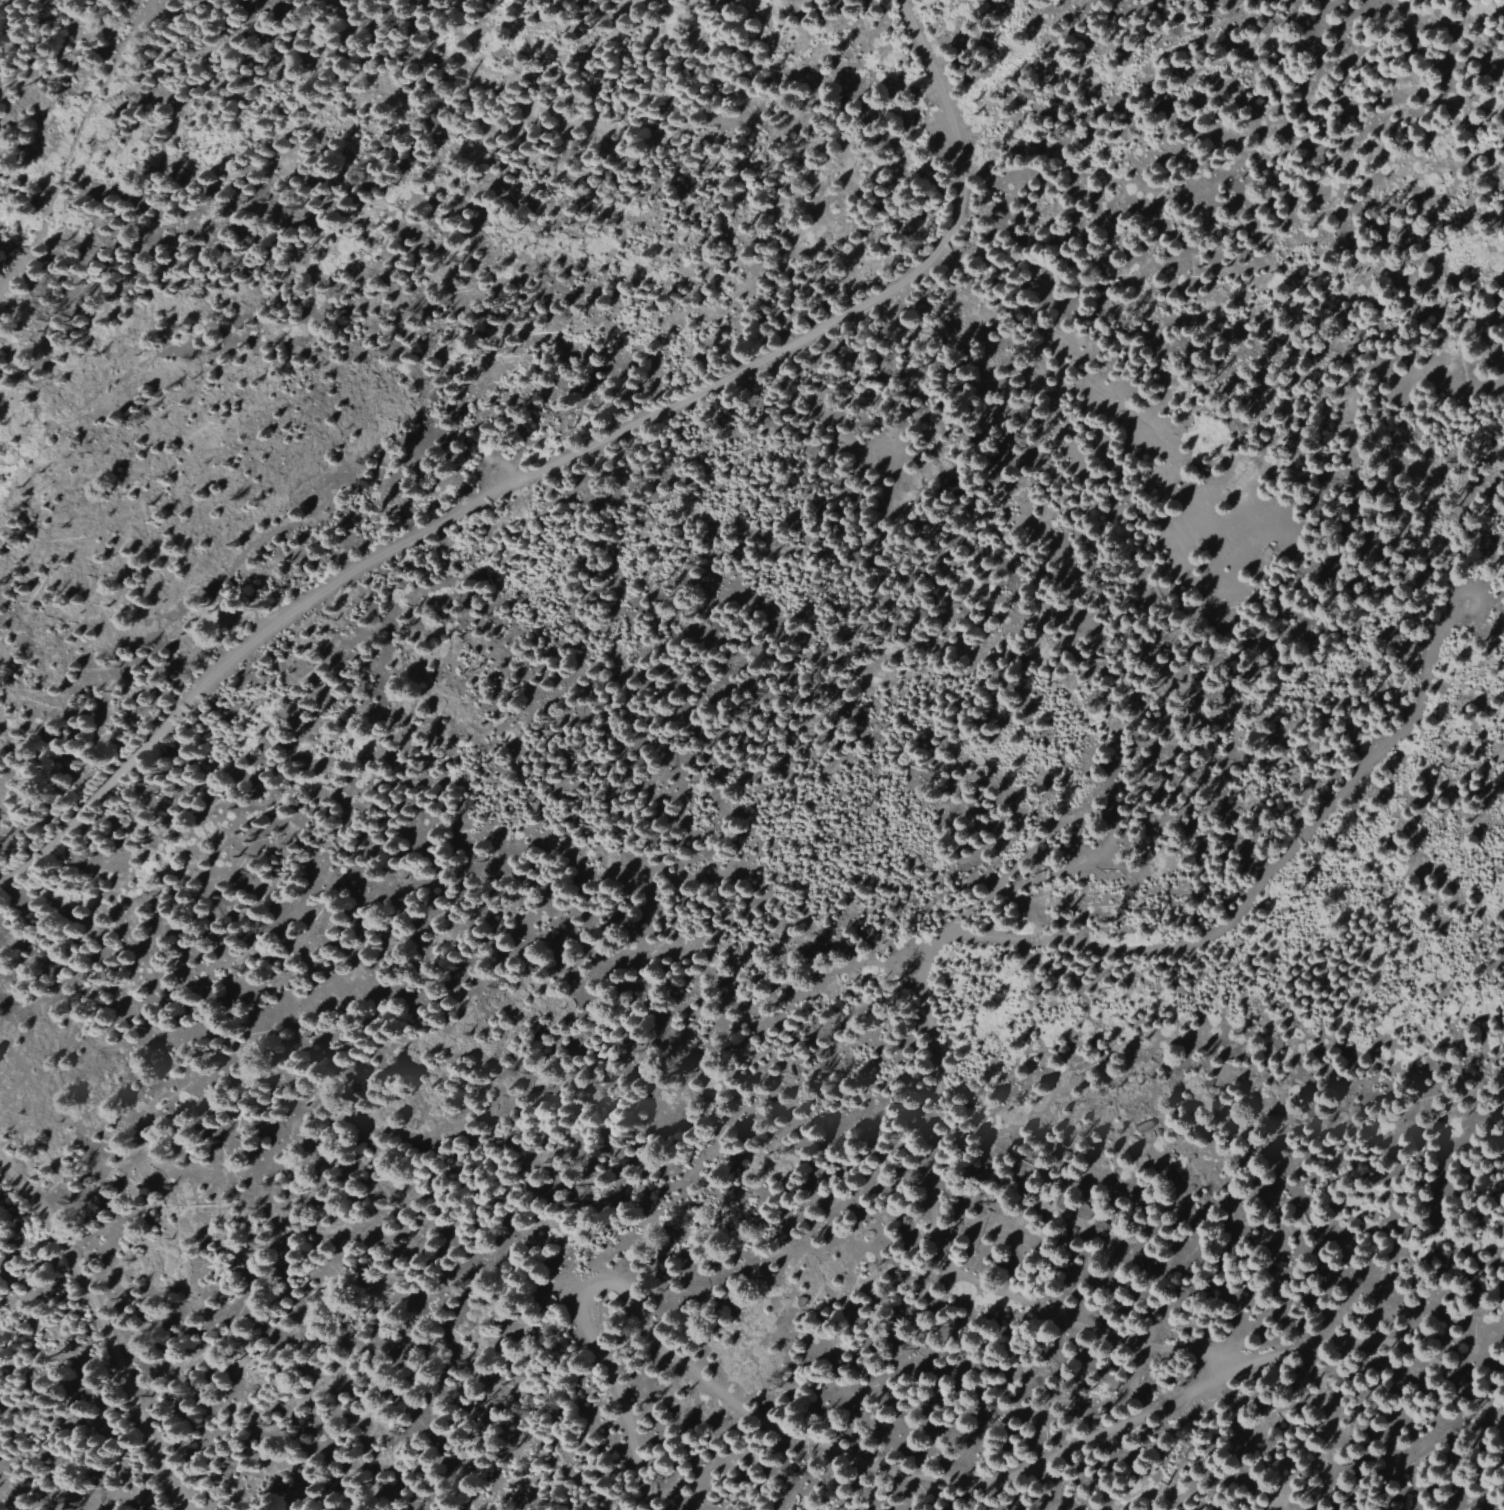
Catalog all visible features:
road: (63, 128)
road: (554, 471)
road: (1241, 916)
road: (933, 1243)
road: (79, 1365)
road: (806, 1482)

